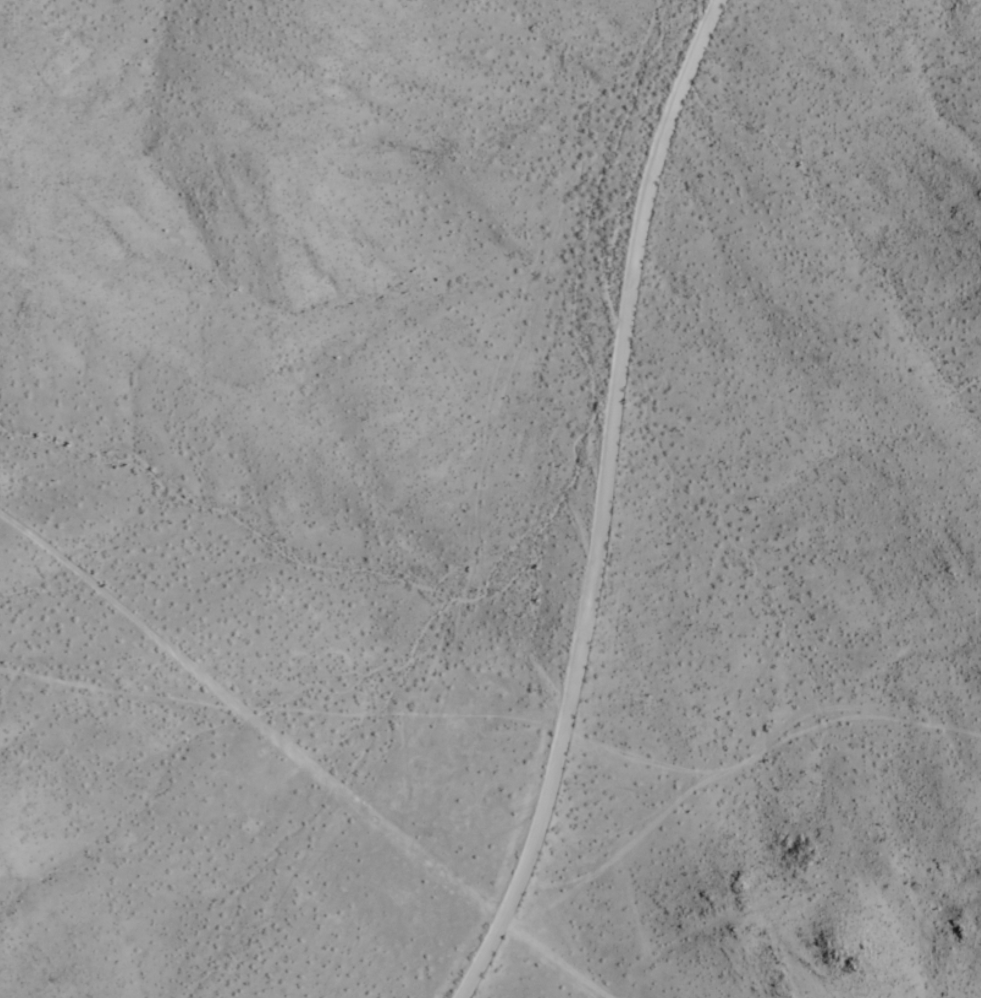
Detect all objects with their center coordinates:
road: (601, 504)
road: (297, 763)

